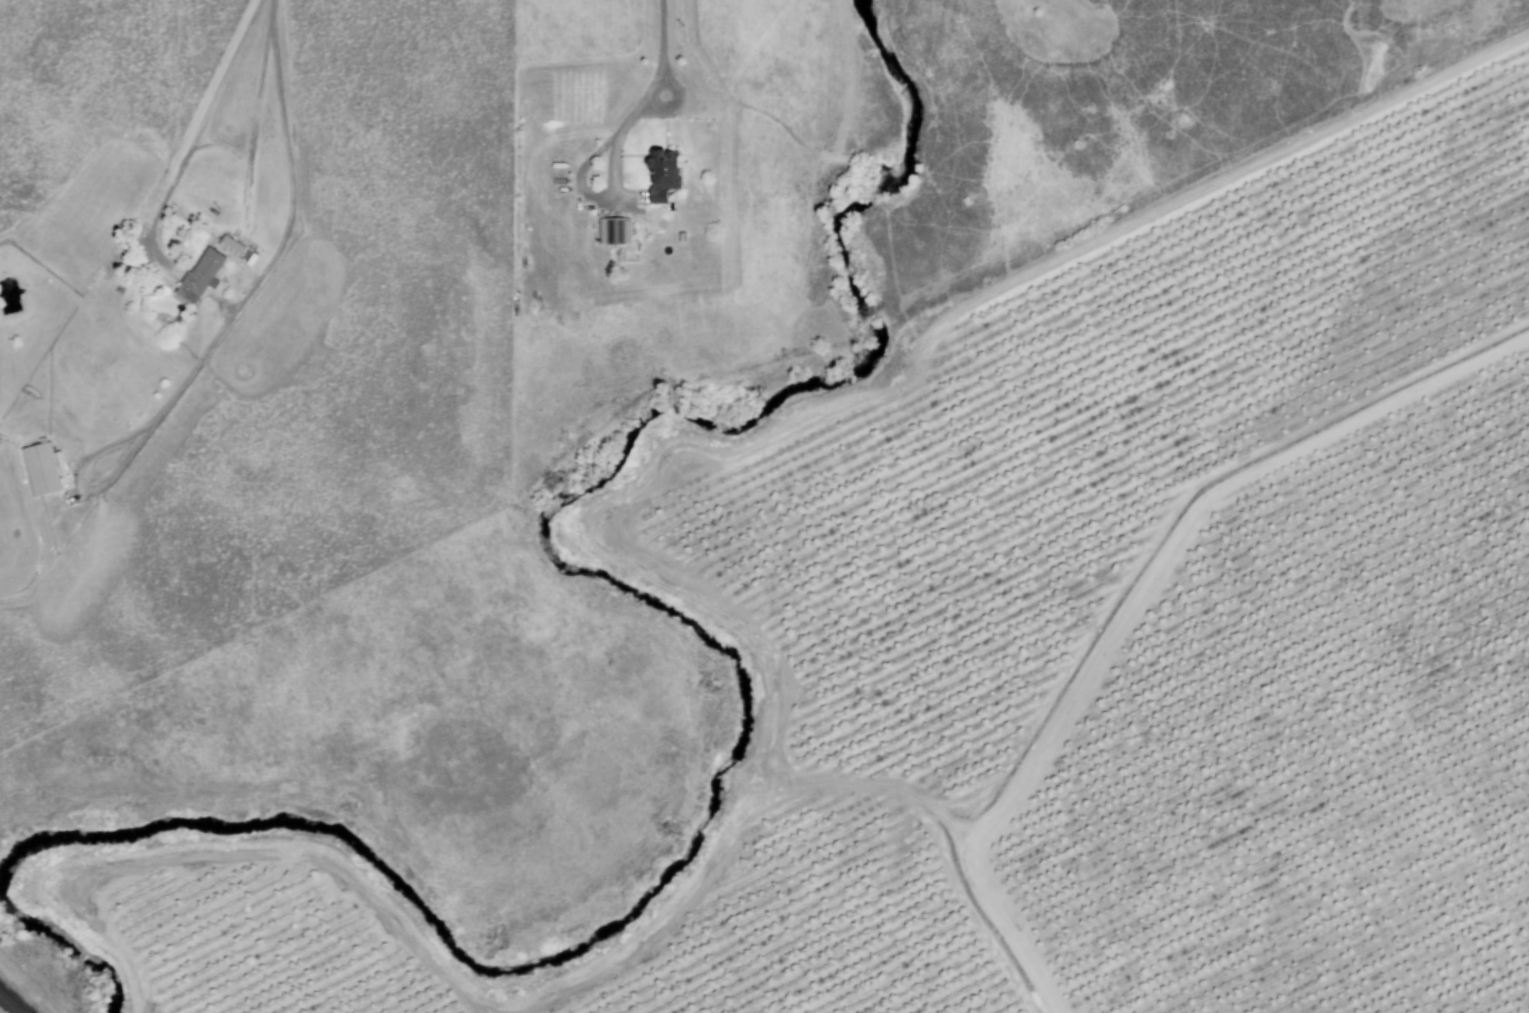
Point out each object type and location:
road: (665, 47)
road: (293, 169)
building: (666, 173)
building: (616, 231)
building: (204, 273)
building: (45, 468)
railway: (11, 1002)

